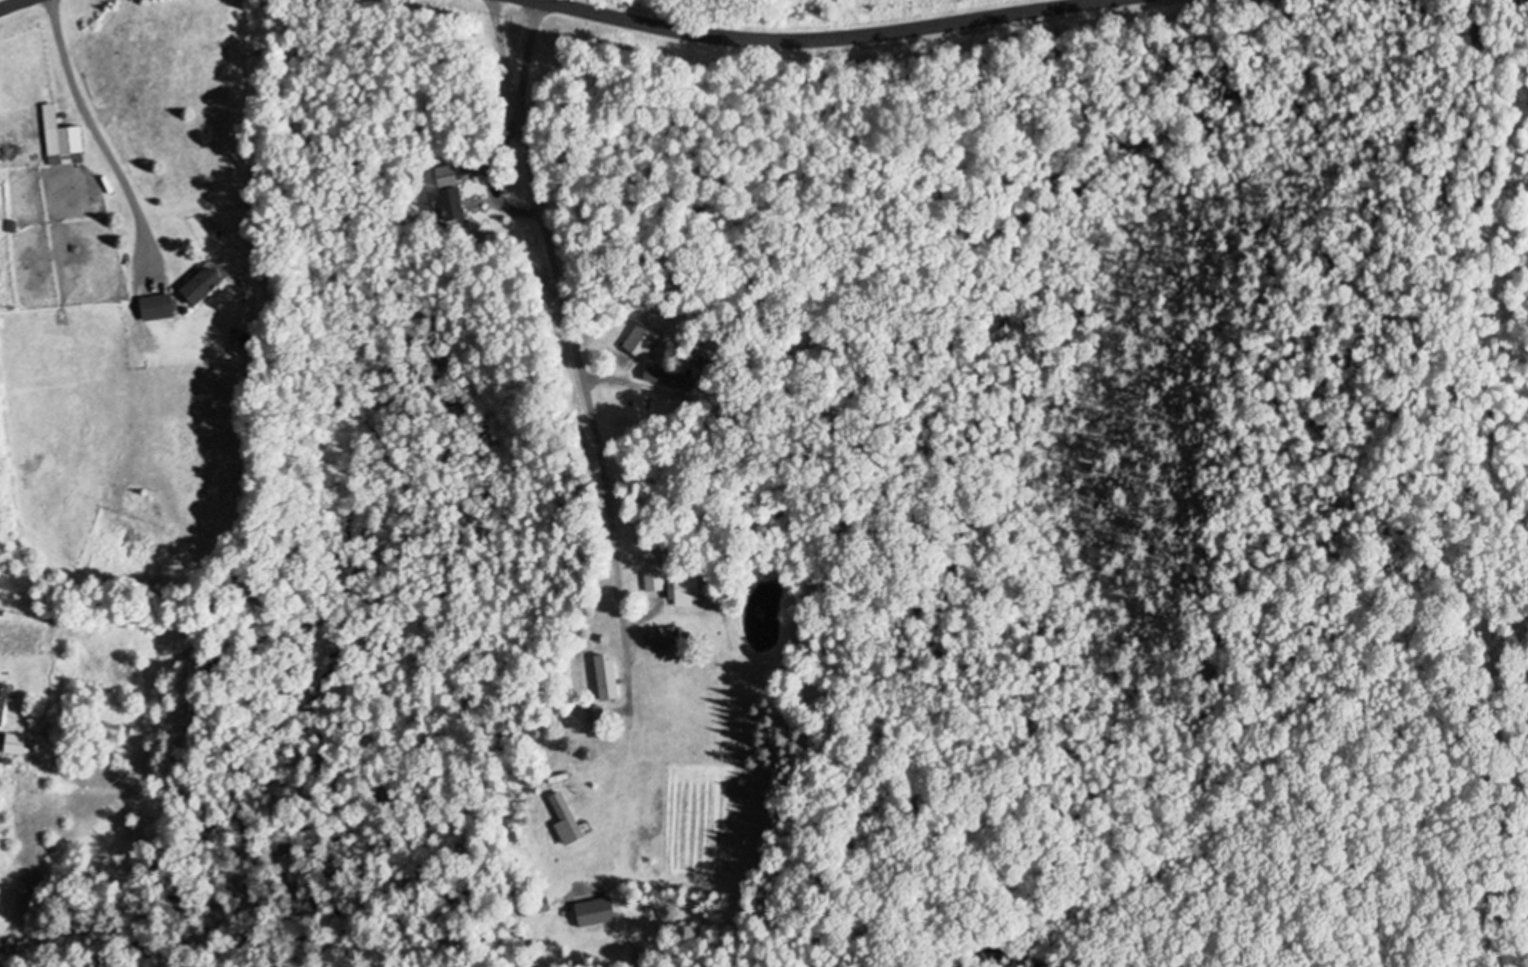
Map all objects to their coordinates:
road: (9, 3)
road: (833, 27)
building: (69, 138)
building: (447, 191)
building: (210, 283)
road: (567, 299)
building: (163, 305)
building: (664, 376)
building: (683, 587)
building: (657, 635)
building: (604, 675)
building: (593, 713)
building: (21, 742)
building: (561, 817)
building: (536, 906)
building: (594, 911)

